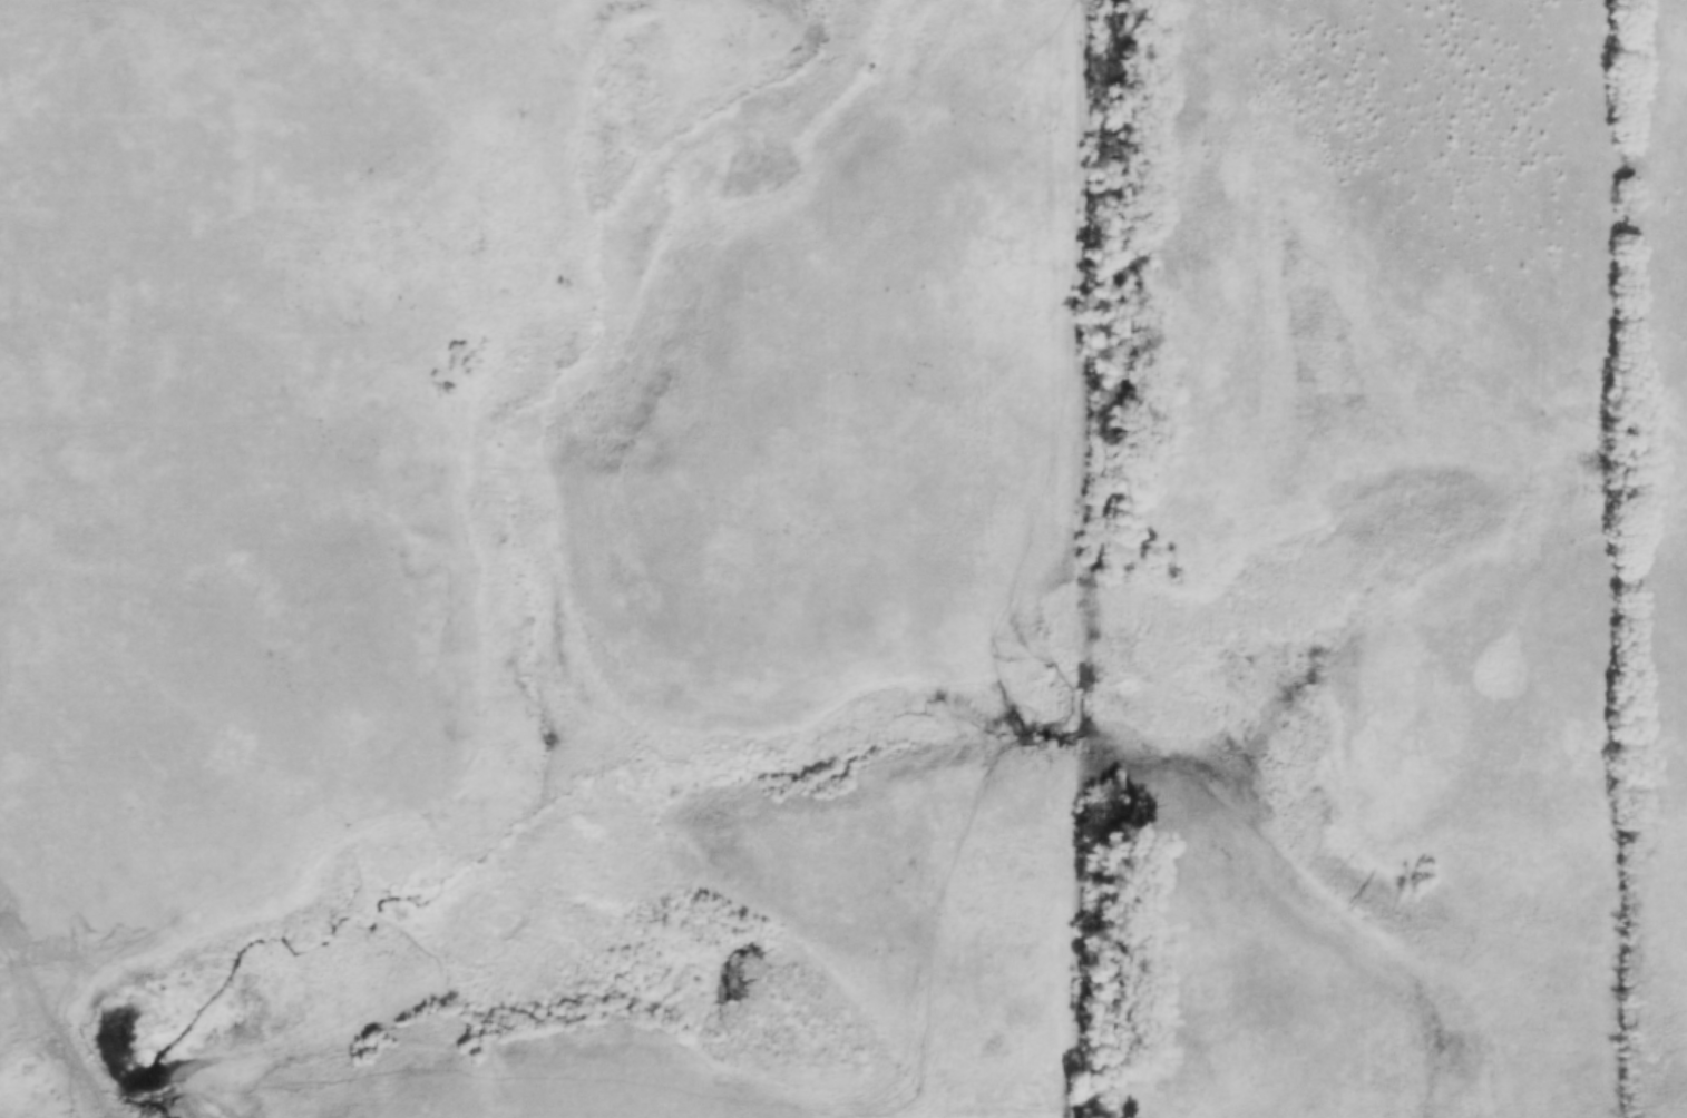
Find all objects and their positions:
road: (58, 1021)
road: (169, 1107)

